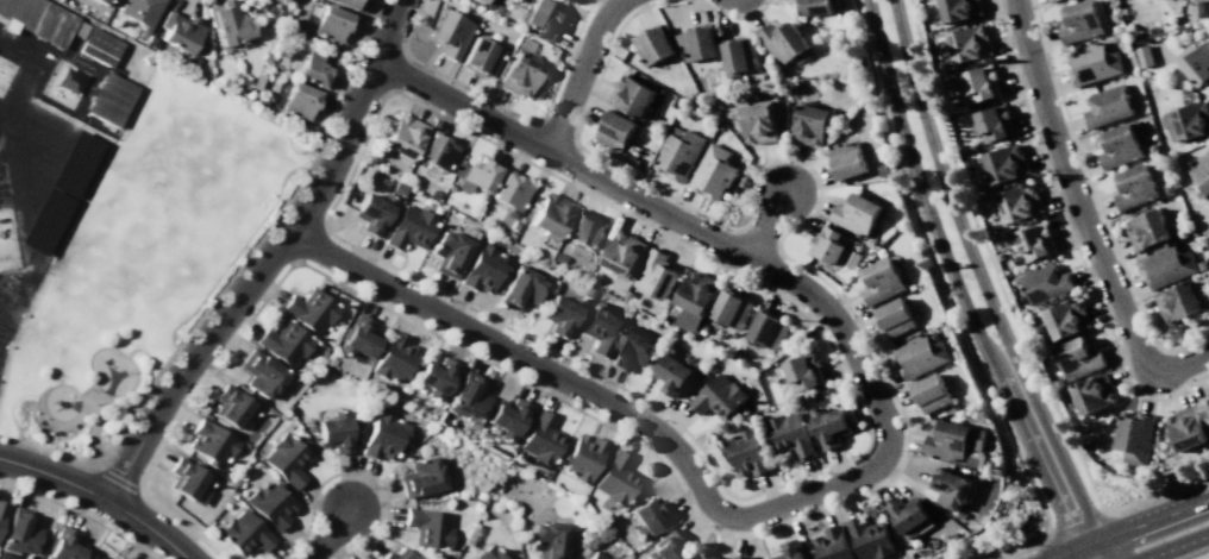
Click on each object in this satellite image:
building: (280, 0)
building: (1053, 0)
building: (100, 1)
building: (478, 1)
road: (703, 1)
building: (347, 4)
building: (815, 6)
building: (495, 8)
building: (1203, 8)
building: (959, 10)
building: (140, 11)
road: (741, 18)
building: (37, 19)
building: (543, 19)
building: (1079, 21)
building: (330, 23)
building: (226, 24)
building: (178, 31)
building: (449, 33)
building: (151, 42)
building: (697, 42)
building: (782, 42)
building: (969, 43)
building: (652, 44)
building: (99, 46)
building: (739, 54)
building: (1144, 55)
building: (480, 57)
building: (1195, 62)
building: (1092, 63)
building: (313, 67)
road: (350, 68)
building: (519, 69)
road: (580, 74)
building: (981, 83)
building: (537, 94)
building: (632, 96)
building: (109, 99)
building: (299, 100)
building: (676, 102)
building: (1107, 106)
road: (503, 107)
building: (693, 108)
building: (1191, 120)
building: (758, 123)
building: (992, 123)
building: (810, 124)
building: (614, 128)
building: (402, 137)
road: (577, 142)
building: (1120, 145)
building: (633, 149)
building: (437, 151)
building: (677, 153)
building: (627, 158)
building: (846, 161)
building: (1006, 163)
building: (883, 170)
building: (1201, 170)
building: (713, 172)
building: (475, 175)
road: (747, 186)
road: (818, 186)
building: (449, 187)
building: (1134, 187)
building: (1169, 187)
building: (397, 188)
building: (509, 190)
building: (433, 194)
road: (1096, 200)
building: (1017, 203)
building: (371, 212)
building: (512, 213)
building: (856, 214)
road: (1082, 214)
building: (550, 215)
road: (765, 224)
building: (513, 225)
building: (409, 227)
building: (584, 230)
building: (1147, 230)
building: (468, 232)
building: (508, 234)
road: (1071, 237)
building: (1034, 241)
building: (828, 245)
building: (449, 252)
building: (624, 255)
park: (144, 256)
building: (557, 257)
road: (267, 258)
building: (852, 258)
building: (1017, 259)
building: (506, 260)
building: (1167, 265)
building: (482, 269)
building: (656, 275)
road: (979, 276)
building: (593, 277)
building: (882, 281)
building: (1045, 283)
building: (519, 288)
road: (959, 288)
building: (588, 290)
building: (627, 296)
building: (694, 300)
road: (950, 302)
building: (1178, 302)
building: (309, 309)
building: (732, 309)
road: (393, 310)
road: (1010, 312)
building: (560, 313)
building: (894, 318)
building: (1066, 319)
building: (715, 322)
building: (704, 327)
building: (602, 328)
building: (768, 328)
building: (737, 335)
building: (358, 338)
road: (180, 343)
building: (284, 343)
building: (633, 350)
building: (957, 353)
building: (920, 356)
building: (735, 357)
building: (393, 358)
building: (1078, 358)
building: (710, 368)
building: (802, 371)
building: (259, 372)
building: (675, 373)
building: (434, 377)
building: (929, 392)
building: (1094, 394)
building: (468, 395)
building: (719, 397)
road: (854, 397)
road: (96, 398)
building: (231, 406)
building: (1205, 407)
road: (79, 416)
building: (507, 419)
building: (828, 426)
road: (907, 429)
building: (1186, 429)
building: (333, 433)
building: (790, 434)
building: (1133, 435)
building: (383, 436)
building: (541, 438)
building: (957, 441)
building: (209, 442)
building: (747, 452)
building: (581, 457)
building: (286, 459)
road: (876, 465)
building: (420, 477)
building: (187, 478)
building: (615, 478)
road: (117, 479)
building: (950, 486)
road: (313, 494)
road: (100, 497)
road: (383, 502)
building: (269, 504)
building: (2, 513)
road: (80, 513)
building: (649, 516)
building: (908, 517)
building: (961, 520)
road: (1152, 520)
road: (1076, 522)
road: (182, 523)
building: (427, 526)
building: (244, 532)
road: (328, 533)
building: (20, 534)
building: (869, 539)
building: (547, 540)
building: (832, 544)
building: (65, 545)
road: (294, 545)
road: (1178, 546)
building: (668, 547)
road: (344, 549)
building: (791, 549)
road: (1075, 551)
road: (1097, 551)
building: (487, 553)
building: (396, 554)
building: (597, 555)
building: (710, 557)
building: (96, 558)
building: (100, 558)
building: (119, 558)
building: (121, 558)
building: (743, 558)

